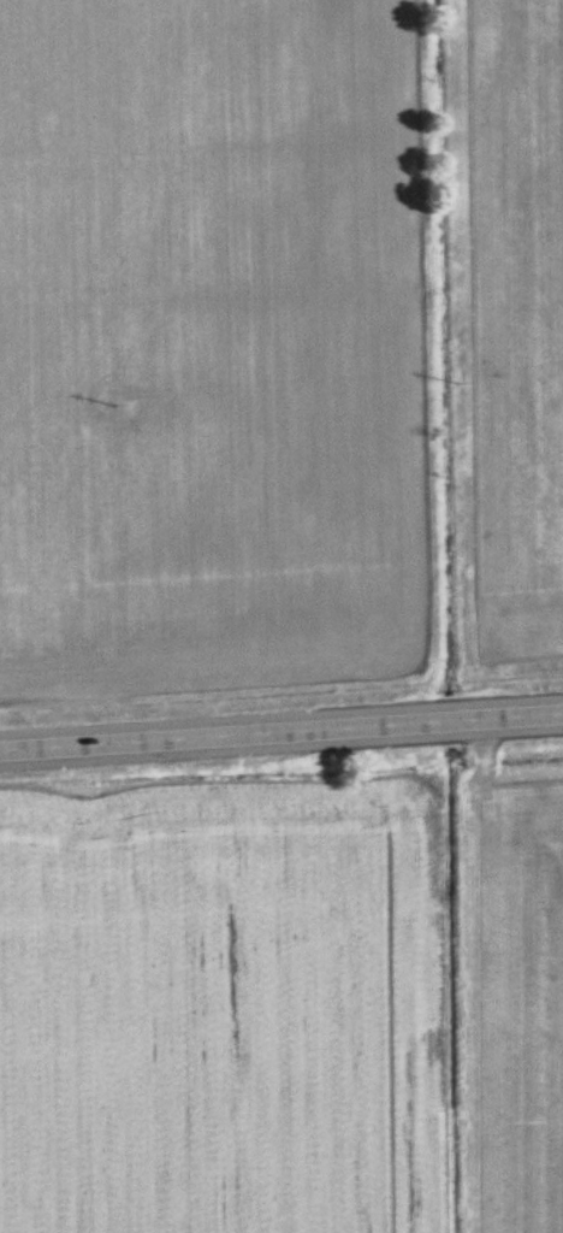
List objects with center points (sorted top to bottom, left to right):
road: (281, 732)

